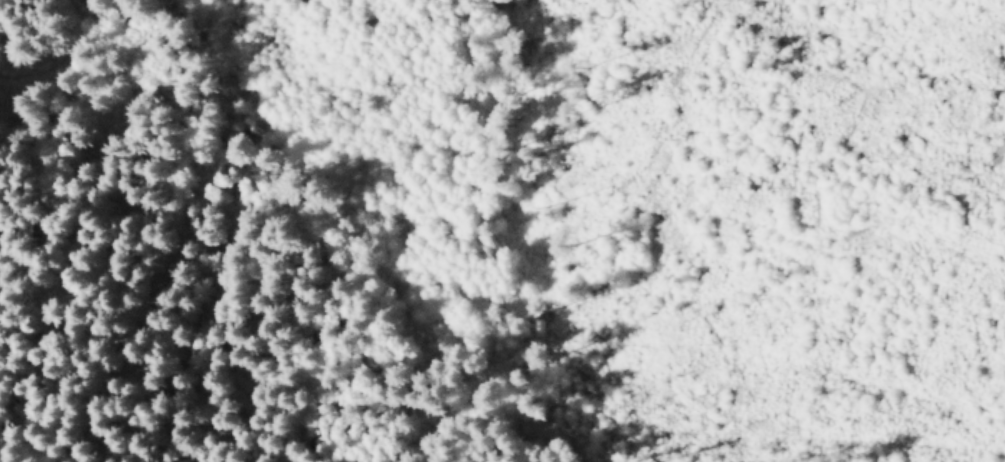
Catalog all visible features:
road: (23, 30)

